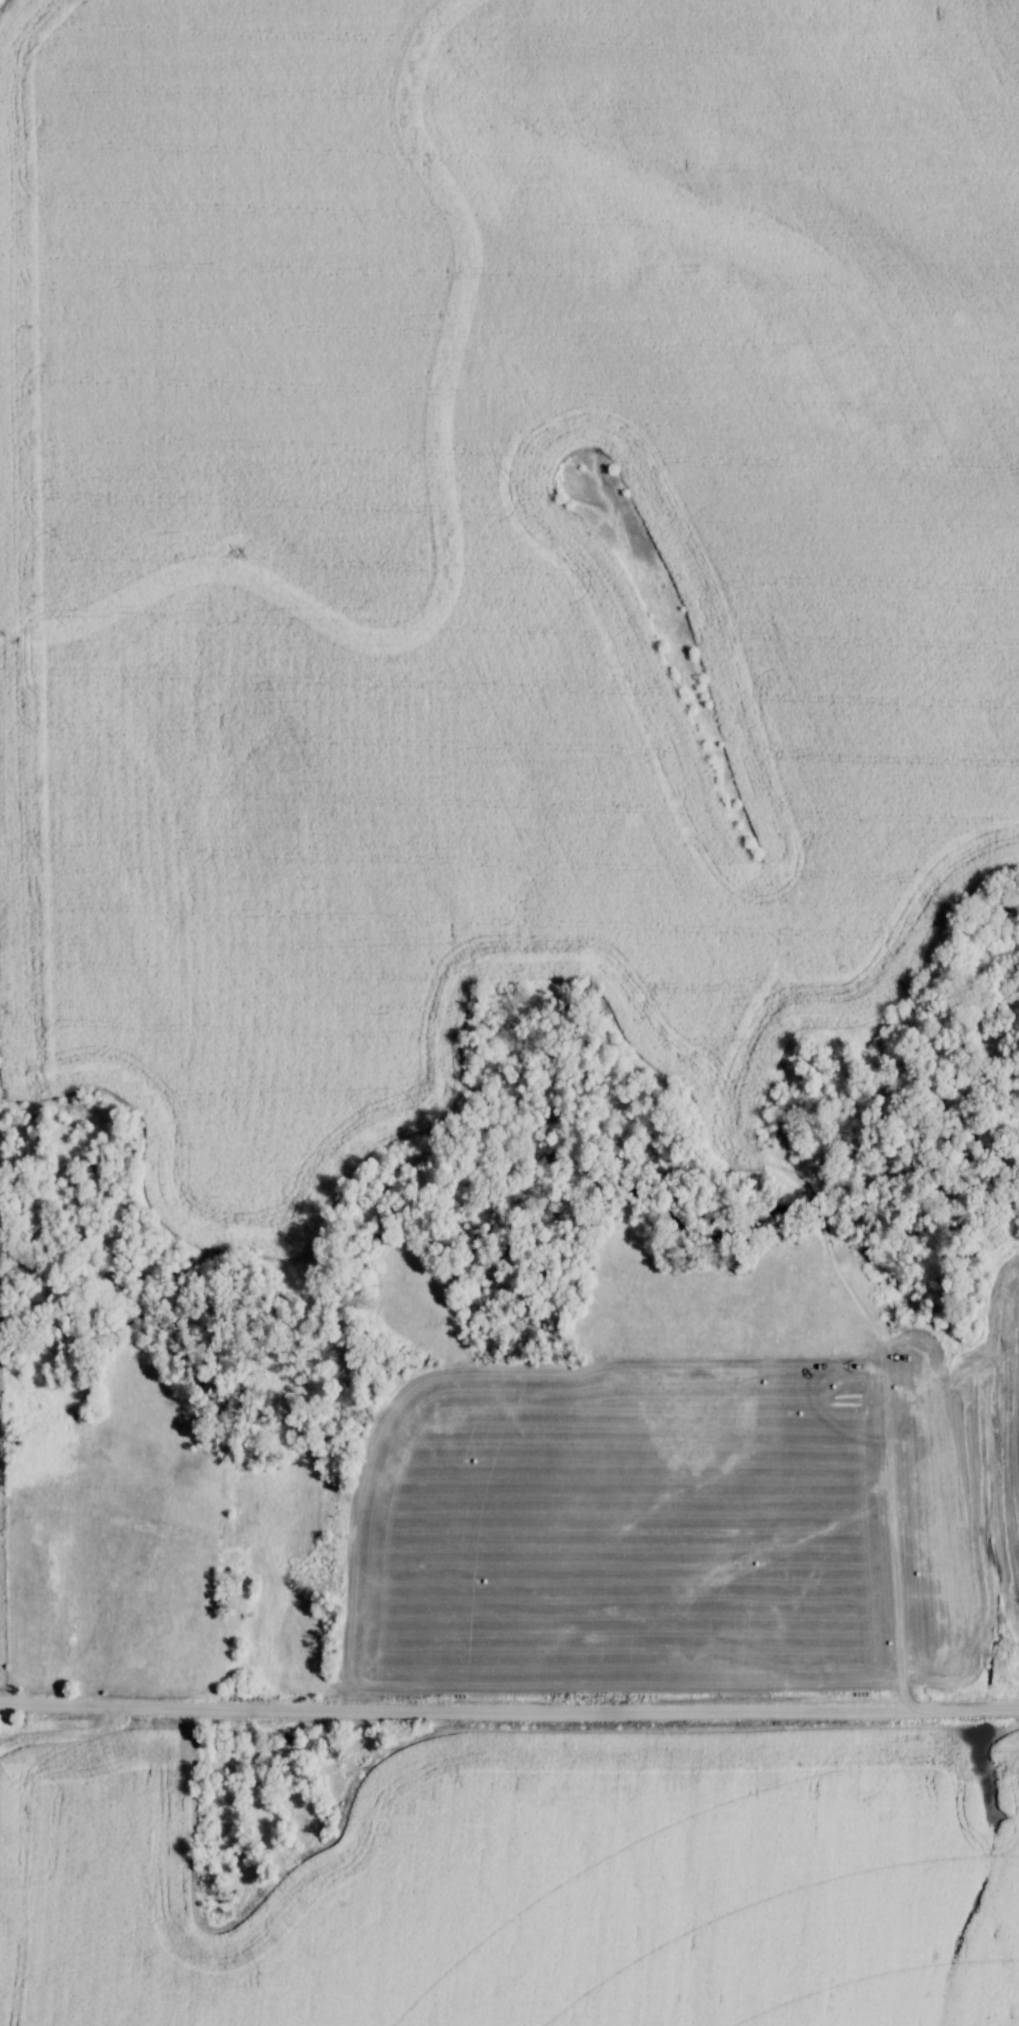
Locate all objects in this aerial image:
road: (509, 1714)

